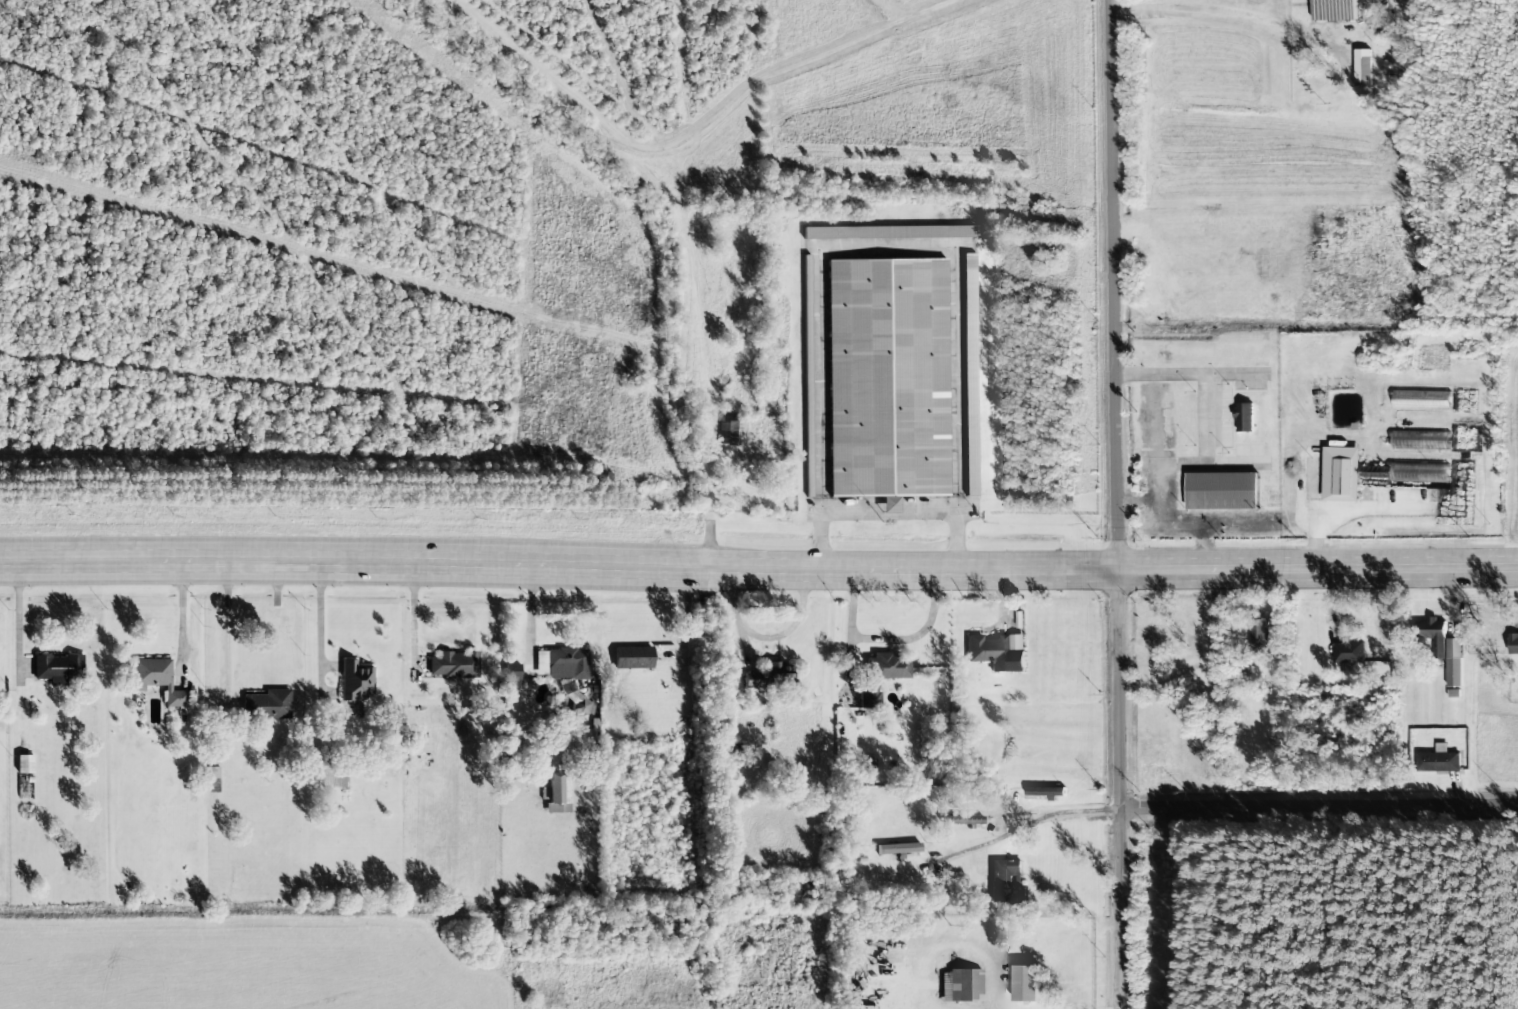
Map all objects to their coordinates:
building: (1333, 10)
building: (1363, 68)
building: (888, 232)
road: (1112, 284)
building: (969, 374)
building: (807, 375)
building: (887, 378)
building: (1421, 400)
building: (1244, 417)
building: (733, 430)
building: (1421, 440)
building: (1428, 471)
building: (1341, 474)
building: (1221, 491)
road: (758, 568)
building: (1433, 637)
building: (1259, 638)
building: (1513, 644)
building: (997, 652)
building: (1348, 652)
building: (633, 658)
building: (1454, 662)
building: (454, 665)
building: (58, 669)
building: (566, 673)
building: (512, 675)
building: (770, 676)
building: (882, 676)
building: (157, 680)
building: (355, 681)
building: (267, 705)
building: (424, 744)
building: (1439, 760)
building: (24, 764)
building: (213, 779)
road: (1118, 788)
building: (552, 789)
road: (1318, 805)
building: (961, 820)
building: (898, 848)
building: (1006, 881)
building: (961, 986)

